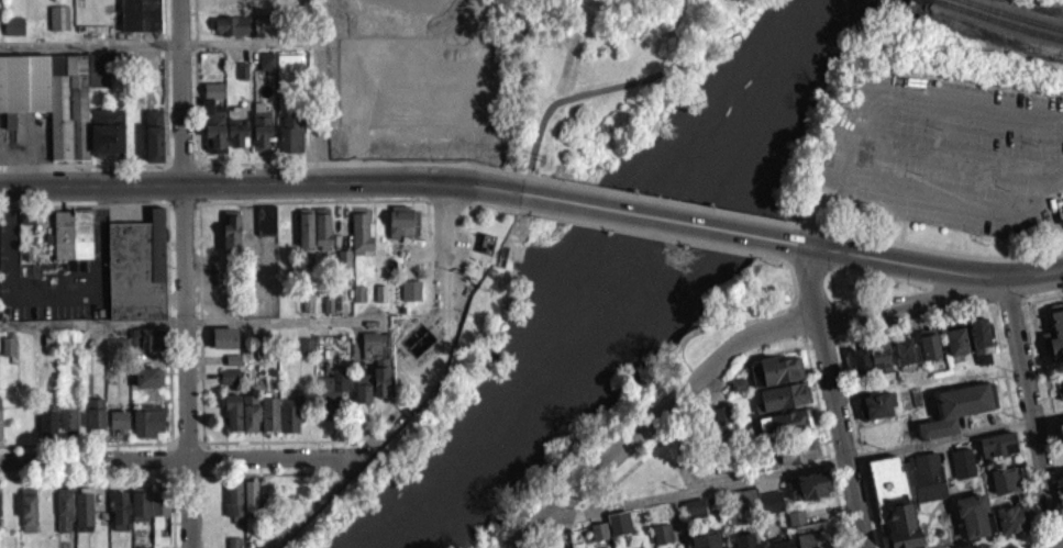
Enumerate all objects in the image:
building: (1062, 0)
railway: (921, 3)
building: (139, 18)
railway: (1001, 20)
road: (160, 23)
building: (58, 25)
railway: (996, 29)
building: (13, 33)
building: (232, 33)
road: (159, 51)
road: (88, 52)
road: (312, 52)
building: (265, 68)
building: (241, 78)
road: (621, 83)
building: (425, 86)
building: (63, 109)
road: (162, 115)
road: (883, 122)
building: (213, 125)
building: (235, 133)
building: (261, 135)
building: (290, 141)
building: (153, 143)
parking lot: (942, 154)
road: (180, 170)
road: (195, 170)
road: (303, 170)
road: (84, 171)
road: (532, 182)
road: (259, 188)
road: (951, 201)
road: (303, 208)
road: (446, 208)
road: (668, 208)
road: (490, 211)
road: (180, 212)
road: (195, 212)
road: (85, 213)
road: (656, 224)
building: (265, 227)
building: (401, 228)
building: (304, 235)
building: (321, 236)
building: (230, 238)
road: (850, 238)
road: (645, 239)
building: (359, 241)
building: (71, 242)
building: (487, 242)
road: (446, 249)
road: (968, 255)
building: (343, 267)
road: (928, 268)
park: (488, 269)
road: (184, 273)
road: (848, 276)
building: (136, 277)
road: (811, 287)
river: (614, 289)
park: (862, 293)
building: (410, 298)
building: (358, 301)
road: (913, 303)
building: (307, 309)
building: (328, 312)
road: (740, 318)
road: (269, 321)
road: (92, 323)
building: (1055, 328)
building: (979, 332)
building: (959, 338)
building: (931, 342)
building: (223, 345)
building: (146, 347)
building: (908, 347)
building: (955, 348)
building: (306, 353)
road: (768, 353)
building: (8, 354)
building: (114, 355)
building: (863, 355)
building: (883, 355)
building: (905, 358)
building: (377, 368)
building: (860, 370)
building: (774, 377)
road: (1045, 380)
building: (229, 383)
building: (1060, 383)
building: (147, 384)
building: (737, 390)
building: (1059, 394)
building: (361, 395)
building: (331, 401)
building: (878, 402)
building: (783, 403)
building: (959, 404)
building: (722, 412)
road: (1032, 412)
road: (655, 414)
building: (232, 420)
building: (95, 421)
building: (248, 421)
building: (268, 422)
building: (719, 422)
building: (288, 423)
road: (1016, 423)
building: (1061, 425)
building: (46, 427)
building: (785, 427)
building: (67, 428)
building: (117, 428)
building: (146, 428)
road: (824, 433)
road: (844, 434)
road: (378, 436)
building: (0, 439)
building: (711, 440)
building: (1060, 440)
road: (860, 443)
building: (997, 443)
road: (177, 458)
building: (793, 458)
building: (963, 461)
road: (804, 468)
building: (1007, 477)
building: (816, 482)
building: (1004, 488)
building: (905, 492)
building: (745, 495)
building: (774, 500)
building: (250, 505)
road: (313, 505)
building: (697, 506)
building: (233, 508)
building: (158, 511)
road: (199, 511)
building: (1014, 512)
building: (139, 513)
building: (694, 515)
building: (26, 517)
building: (63, 517)
building: (82, 517)
building: (119, 518)
building: (621, 519)
building: (600, 528)
building: (811, 528)
building: (664, 529)
building: (618, 530)
road: (174, 534)
building: (708, 537)
road: (1054, 537)
building: (598, 538)
building: (748, 538)
building: (661, 539)
building: (785, 541)
road: (1025, 543)
building: (563, 545)
building: (233, 546)

